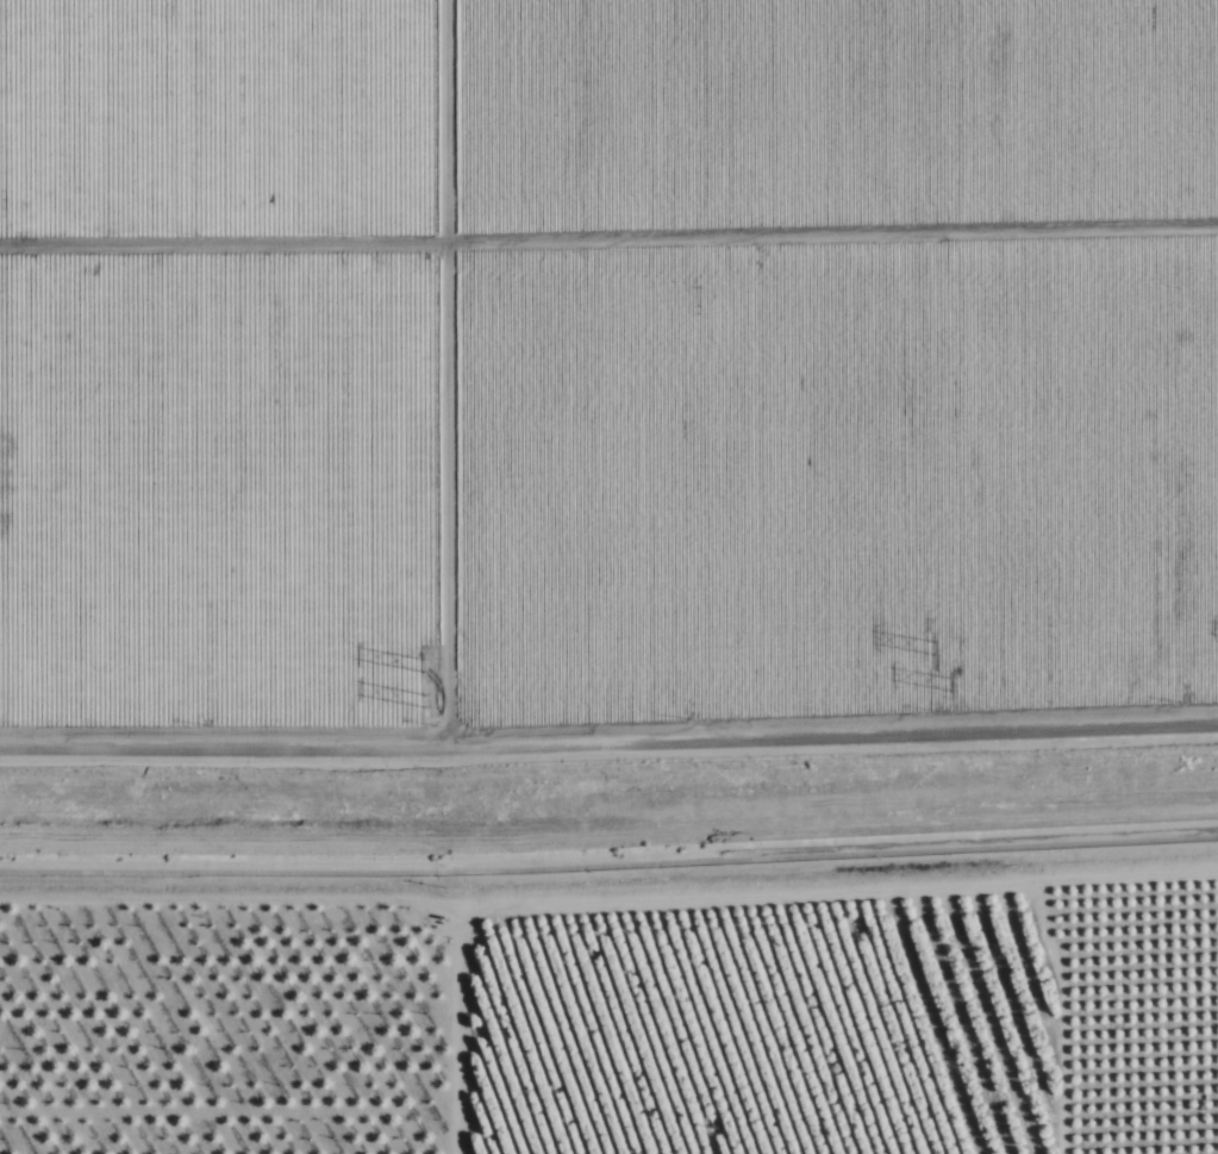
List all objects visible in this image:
power tower: (929, 650)
power tower: (432, 666)
power tower: (945, 685)
power tower: (435, 701)
road: (608, 746)

